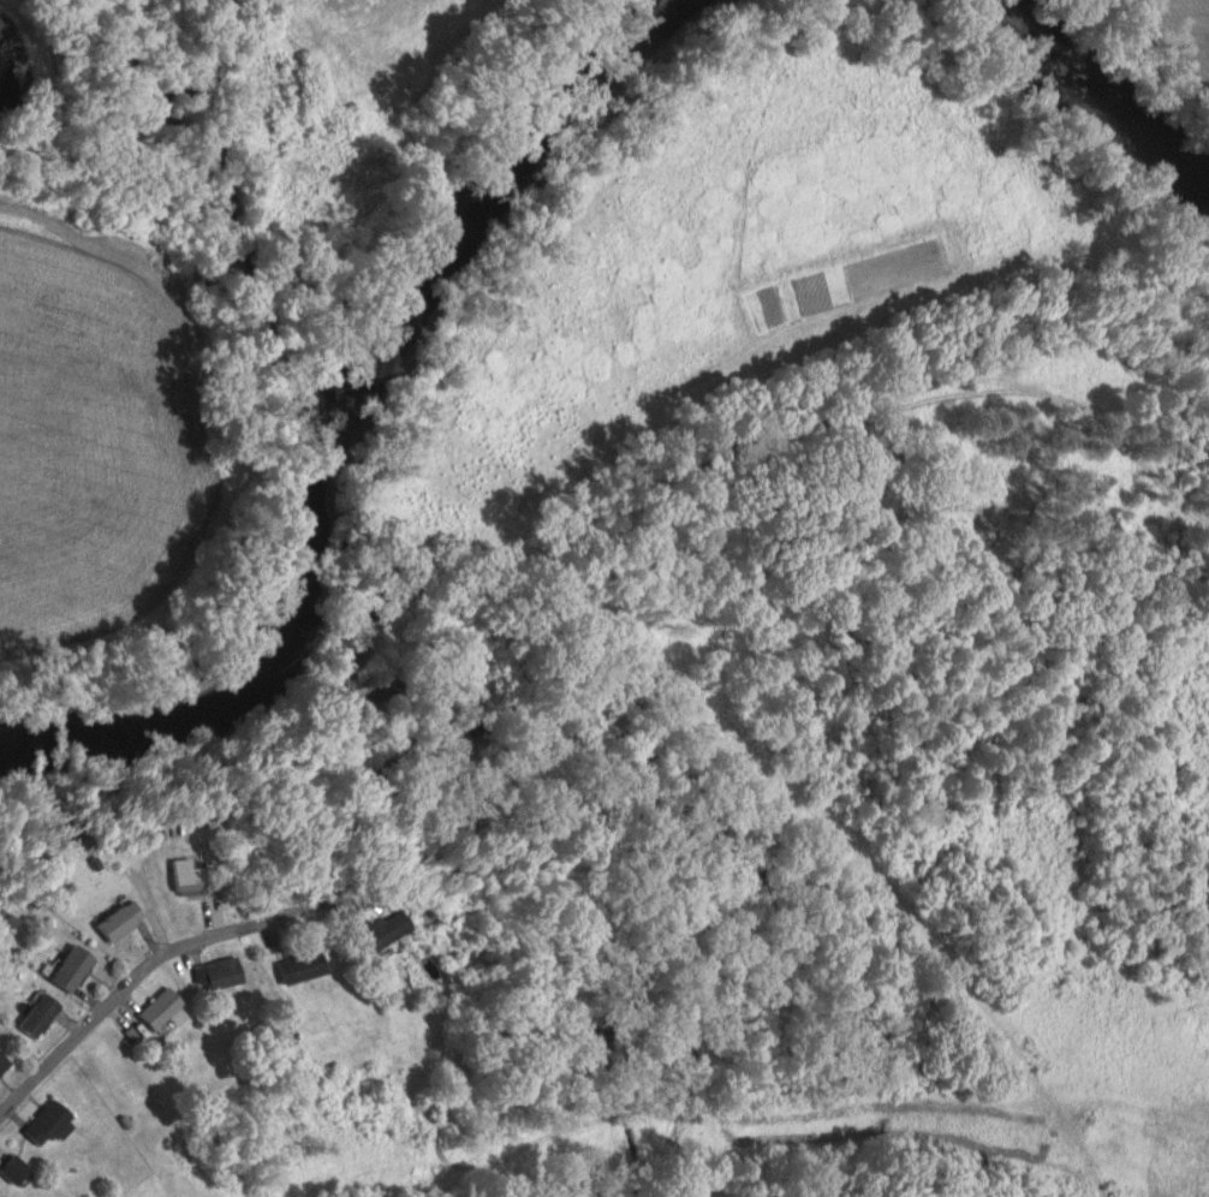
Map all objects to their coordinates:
river: (1104, 97)
river: (334, 415)
building: (192, 877)
building: (123, 921)
building: (386, 933)
building: (304, 967)
building: (75, 969)
building: (220, 973)
road: (126, 983)
building: (162, 1008)
building: (41, 1016)
building: (4, 1062)
building: (50, 1122)
building: (17, 1169)

